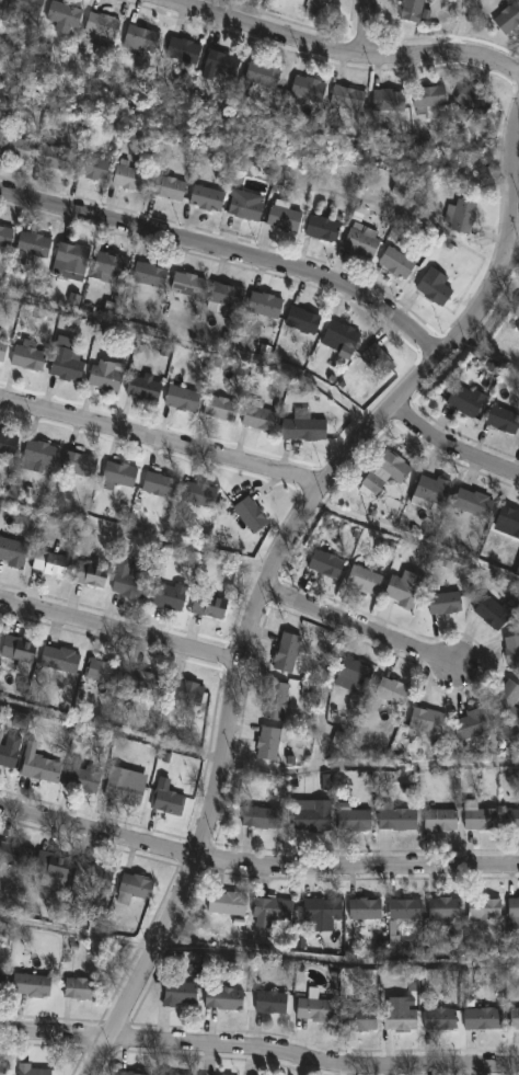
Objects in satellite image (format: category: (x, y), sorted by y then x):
building: (2, 2)
building: (28, 5)
building: (319, 8)
building: (416, 11)
building: (65, 16)
building: (509, 18)
building: (104, 25)
road: (368, 27)
building: (143, 39)
road: (343, 48)
building: (186, 53)
building: (224, 62)
building: (266, 75)
building: (311, 88)
building: (431, 95)
building: (350, 98)
building: (390, 101)
building: (475, 101)
building: (16, 147)
building: (55, 159)
building: (94, 168)
building: (131, 179)
building: (171, 187)
building: (209, 198)
building: (249, 205)
building: (463, 216)
building: (286, 217)
building: (325, 228)
building: (7, 237)
building: (365, 240)
building: (34, 245)
road: (231, 251)
road: (512, 256)
building: (72, 262)
building: (397, 262)
building: (111, 266)
building: (151, 275)
building: (191, 285)
building: (437, 287)
building: (33, 290)
building: (228, 296)
building: (73, 299)
building: (265, 306)
building: (111, 309)
building: (518, 313)
building: (305, 321)
building: (518, 329)
building: (0, 332)
building: (343, 339)
building: (3, 351)
building: (31, 356)
building: (379, 361)
building: (68, 364)
building: (106, 375)
building: (297, 388)
building: (143, 389)
building: (183, 399)
building: (468, 402)
building: (223, 408)
building: (261, 418)
building: (505, 421)
building: (311, 430)
road: (162, 438)
road: (462, 438)
building: (9, 444)
building: (39, 456)
building: (81, 464)
building: (387, 472)
building: (119, 476)
building: (161, 485)
building: (201, 494)
building: (432, 494)
building: (475, 504)
building: (253, 515)
building: (510, 518)
building: (14, 552)
building: (53, 561)
building: (328, 563)
road: (274, 569)
building: (517, 571)
building: (91, 574)
building: (132, 580)
building: (368, 580)
building: (406, 593)
building: (171, 597)
building: (448, 604)
building: (211, 607)
building: (497, 608)
road: (359, 627)
road: (120, 633)
building: (21, 648)
building: (512, 650)
building: (288, 651)
building: (62, 659)
building: (101, 672)
building: (356, 675)
building: (145, 684)
building: (395, 690)
building: (187, 691)
building: (278, 699)
building: (509, 700)
building: (429, 720)
building: (474, 727)
building: (0, 734)
building: (516, 741)
building: (269, 743)
building: (9, 755)
building: (43, 767)
building: (86, 777)
building: (326, 782)
building: (125, 786)
building: (170, 801)
building: (314, 814)
building: (265, 816)
building: (399, 817)
building: (442, 819)
building: (483, 819)
building: (512, 819)
building: (357, 820)
building: (15, 854)
building: (54, 868)
road: (253, 874)
building: (93, 878)
building: (136, 888)
building: (229, 903)
building: (487, 907)
building: (368, 908)
building: (408, 908)
building: (325, 910)
building: (274, 911)
building: (448, 911)
building: (515, 913)
road: (83, 933)
building: (3, 977)
building: (34, 985)
building: (82, 988)
building: (182, 993)
building: (227, 998)
building: (273, 1002)
building: (316, 1007)
building: (441, 1017)
building: (362, 1018)
building: (485, 1018)
building: (516, 1018)
building: (402, 1020)
road: (259, 1051)
building: (3, 1068)
building: (34, 1070)
building: (135, 1073)
building: (176, 1074)

